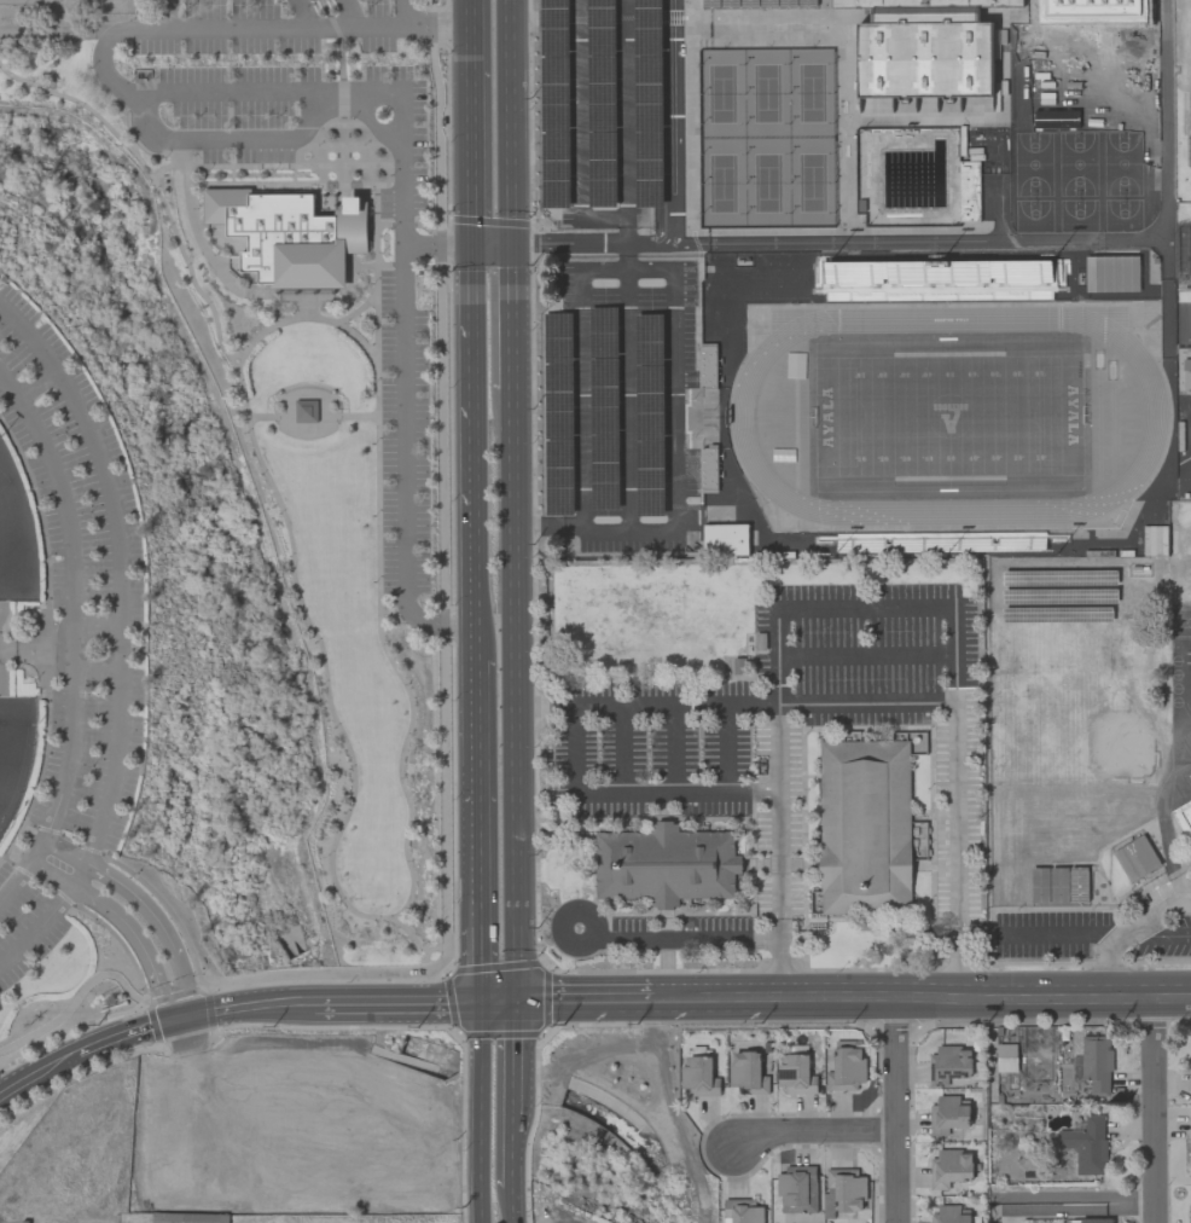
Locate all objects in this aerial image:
park: (30, 2)
road: (1027, 6)
road: (325, 7)
road: (469, 12)
road: (165, 13)
road: (306, 13)
road: (353, 13)
road: (406, 13)
road: (669, 15)
rooftop solar panel: (600, 18)
rooftop solar panel: (650, 19)
rooftop solar panel: (557, 25)
road: (760, 27)
road: (251, 28)
road: (335, 28)
building: (925, 48)
road: (342, 62)
park: (1189, 82)
road: (263, 93)
rooftop solar panel: (652, 93)
park: (811, 93)
rooftop solar panel: (554, 94)
park: (721, 94)
park: (766, 94)
rooftop solar panel: (604, 95)
road: (342, 100)
road: (624, 106)
road: (86, 108)
parking lot: (600, 109)
building: (600, 116)
road: (661, 120)
road: (678, 120)
road: (509, 121)
road: (579, 128)
road: (470, 134)
road: (225, 140)
road: (342, 141)
rooftop solar panel: (604, 167)
rooftop solar panel: (557, 168)
road: (292, 173)
road: (231, 174)
rooftop solar panel: (651, 174)
road: (262, 181)
park: (812, 182)
park: (721, 184)
park: (767, 184)
building: (968, 191)
road: (626, 227)
building: (290, 237)
road: (1055, 240)
road: (605, 242)
traffic signals: (471, 243)
road: (490, 243)
traffic signals: (510, 243)
road: (437, 244)
road: (203, 249)
road: (225, 260)
road: (361, 265)
building: (1184, 273)
building: (878, 284)
road: (306, 296)
parking lot: (397, 300)
road: (306, 303)
road: (356, 309)
road: (301, 317)
road: (510, 317)
rooftop solar panel: (605, 321)
road: (471, 324)
rooftop solar panel: (652, 329)
rooftop solar panel: (604, 340)
rooftop solar panel: (650, 352)
road: (234, 354)
building: (708, 367)
rooftop solar panel: (604, 372)
building: (1186, 375)
rooftop solar panel: (650, 382)
road: (39, 383)
road: (403, 389)
rooftop solar panel: (604, 396)
parking lot: (627, 400)
rooftop solar panel: (651, 402)
building: (304, 410)
track: (742, 416)
park: (948, 416)
road: (313, 417)
rooftop solar panel: (604, 422)
rooftop solar panel: (650, 428)
rooftop solar panel: (603, 444)
rooftop solar panel: (651, 453)
road: (674, 460)
building: (709, 468)
rooftop solar panel: (603, 473)
park: (2, 479)
rooftop solar panel: (649, 479)
rooftop solar panel: (604, 498)
rooftop solar panel: (649, 500)
road: (475, 515)
road: (548, 531)
building: (725, 539)
building: (1154, 539)
road: (118, 566)
road: (72, 598)
road: (1, 608)
road: (865, 608)
park: (341, 609)
road: (97, 625)
parking lot: (74, 632)
road: (27, 650)
road: (866, 654)
road: (98, 670)
road: (2, 671)
road: (478, 682)
road: (512, 695)
road: (645, 702)
road: (866, 702)
park: (71, 706)
park: (14, 750)
building: (1190, 775)
road: (633, 793)
building: (1183, 816)
building: (865, 828)
road: (37, 848)
road: (65, 850)
building: (1134, 858)
building: (664, 864)
road: (480, 870)
road: (52, 871)
road: (81, 873)
street lamp: (133, 875)
road: (16, 880)
road: (341, 898)
road: (1155, 915)
road: (403, 917)
road: (159, 925)
road: (39, 927)
road: (1059, 934)
road: (1157, 934)
road: (678, 937)
road: (413, 939)
road: (138, 940)
road: (436, 947)
road: (1109, 963)
road: (1157, 963)
road: (1040, 964)
road: (1109, 964)
road: (981, 967)
road: (959, 968)
road: (780, 970)
road: (870, 970)
road: (657, 972)
street lamp: (198, 974)
road: (1042, 996)
road: (732, 997)
road: (854, 997)
road: (583, 999)
road: (498, 1001)
traffic signals: (516, 1001)
traffic signals: (481, 1002)
road: (372, 1003)
road: (230, 1008)
road: (181, 1018)
road: (1181, 1019)
road: (1155, 1020)
road: (1030, 1021)
road: (703, 1022)
road: (894, 1022)
road: (118, 1037)
building: (1006, 1057)
building: (1096, 1063)
building: (948, 1065)
road: (538, 1067)
building: (846, 1068)
building: (746, 1073)
building: (796, 1073)
rooftop solar panel: (789, 1074)
building: (698, 1076)
road: (34, 1077)
road: (513, 1090)
road: (1152, 1108)
road: (895, 1109)
road: (480, 1112)
road: (615, 1114)
building: (948, 1114)
road: (811, 1132)
building: (1086, 1144)
building: (949, 1167)
building: (797, 1189)
building: (842, 1192)
road: (512, 1201)
road: (1073, 1204)
building: (1190, 1206)
building: (742, 1211)
building: (949, 1215)

